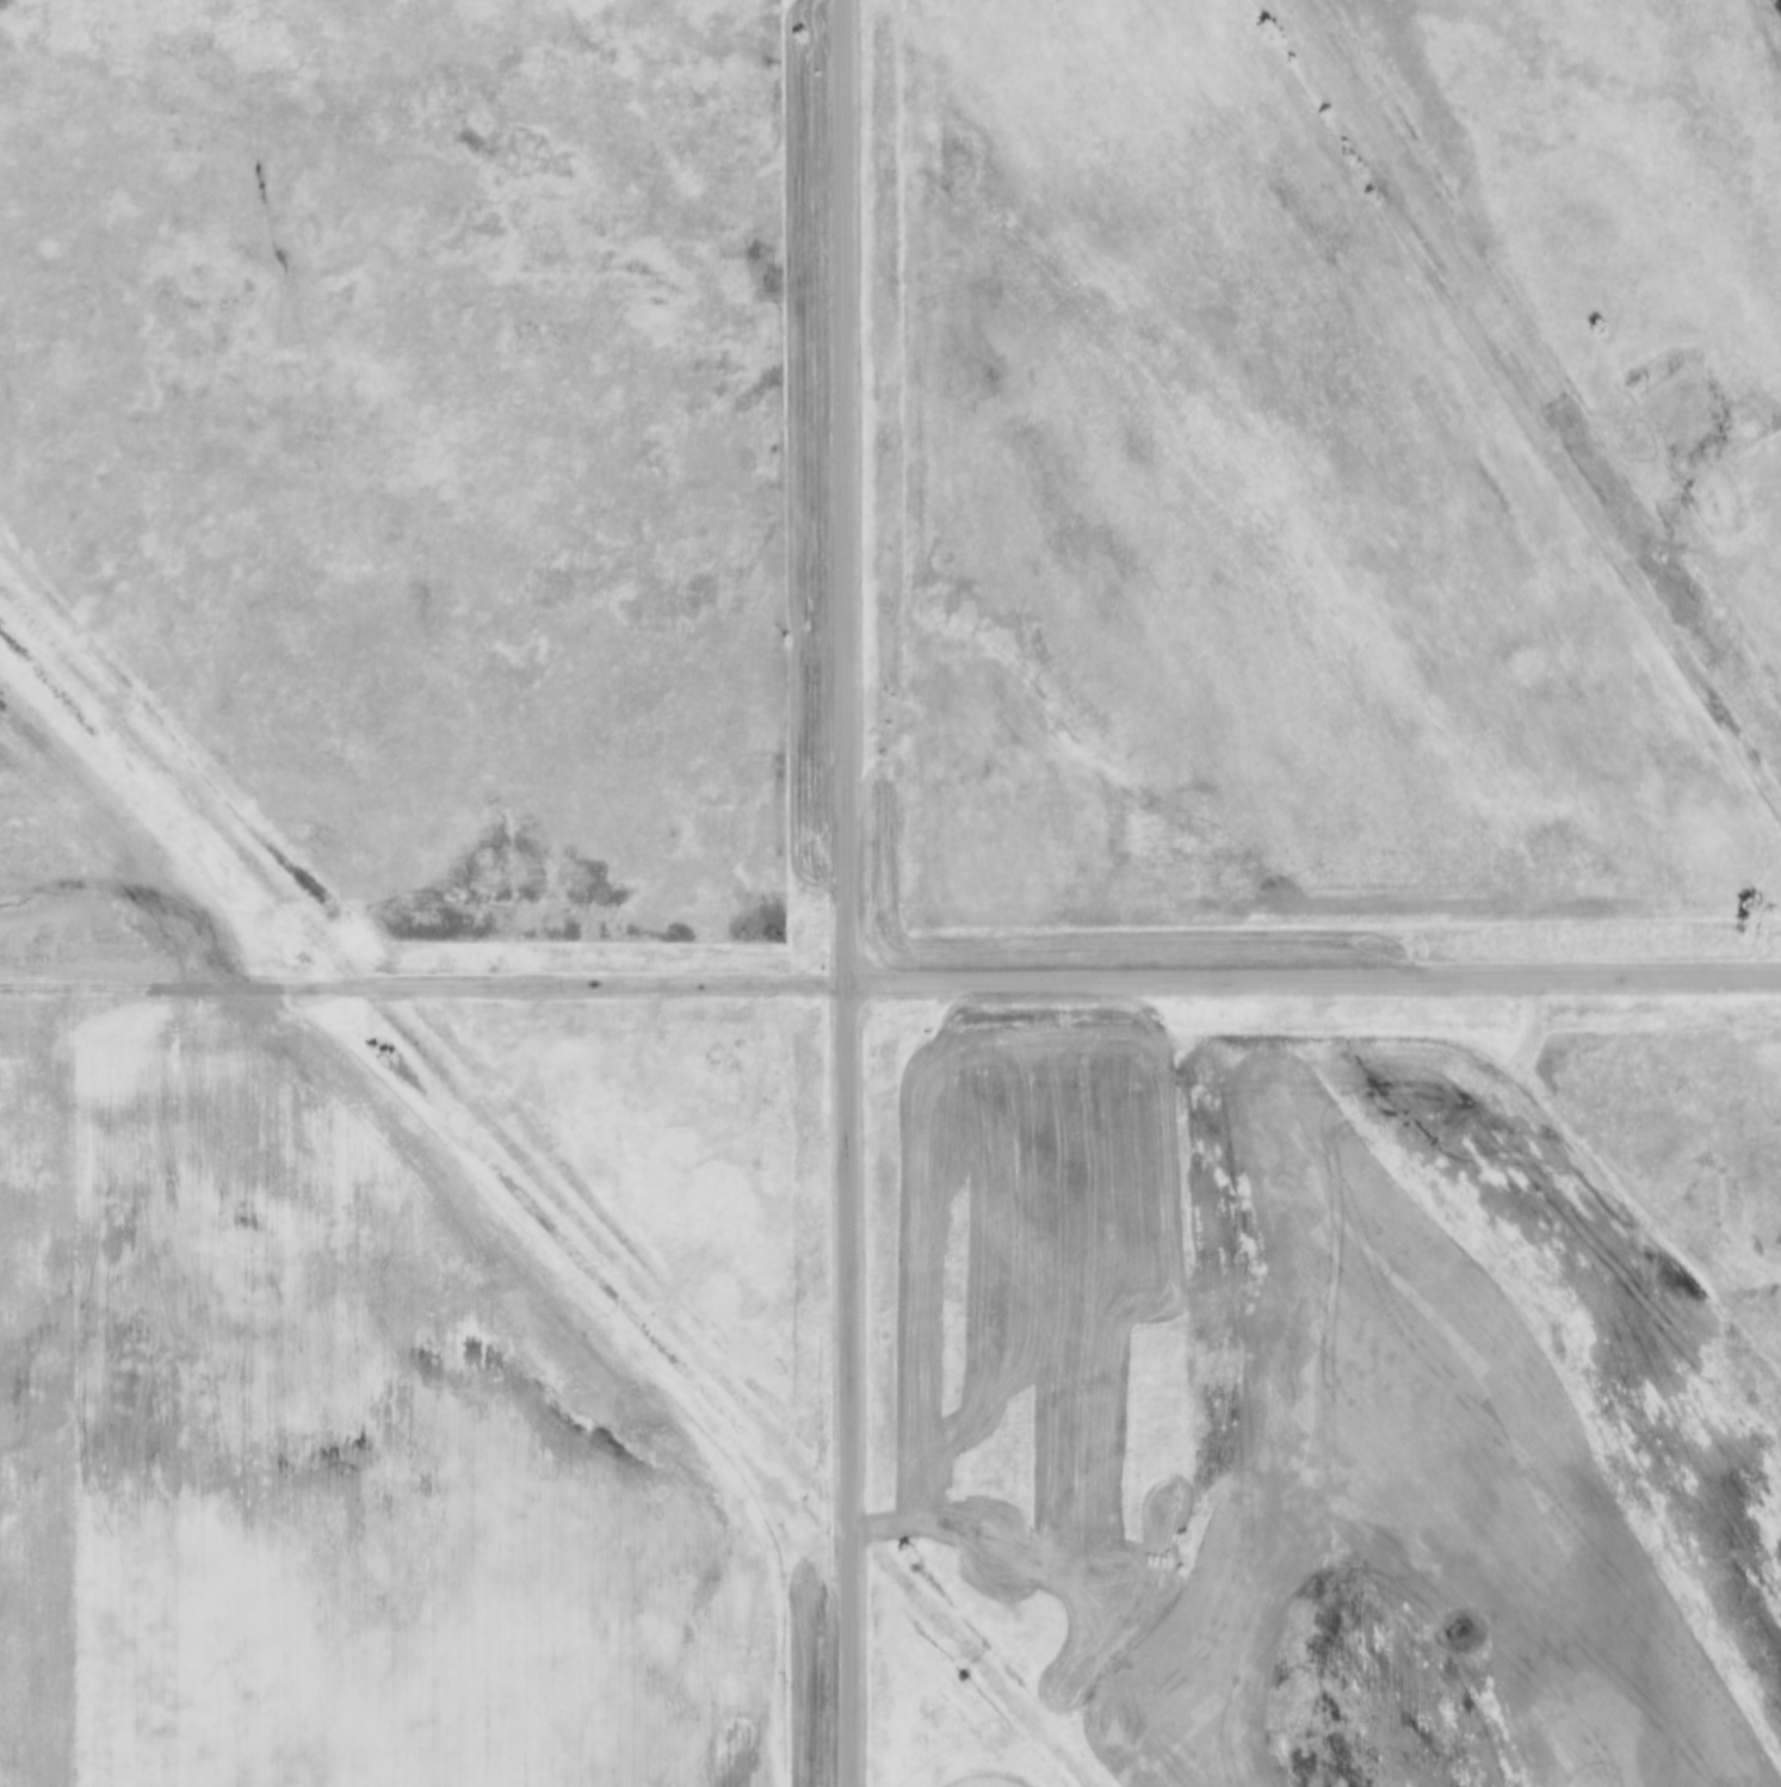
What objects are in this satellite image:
road: (848, 892)
road: (1315, 981)
road: (425, 988)

